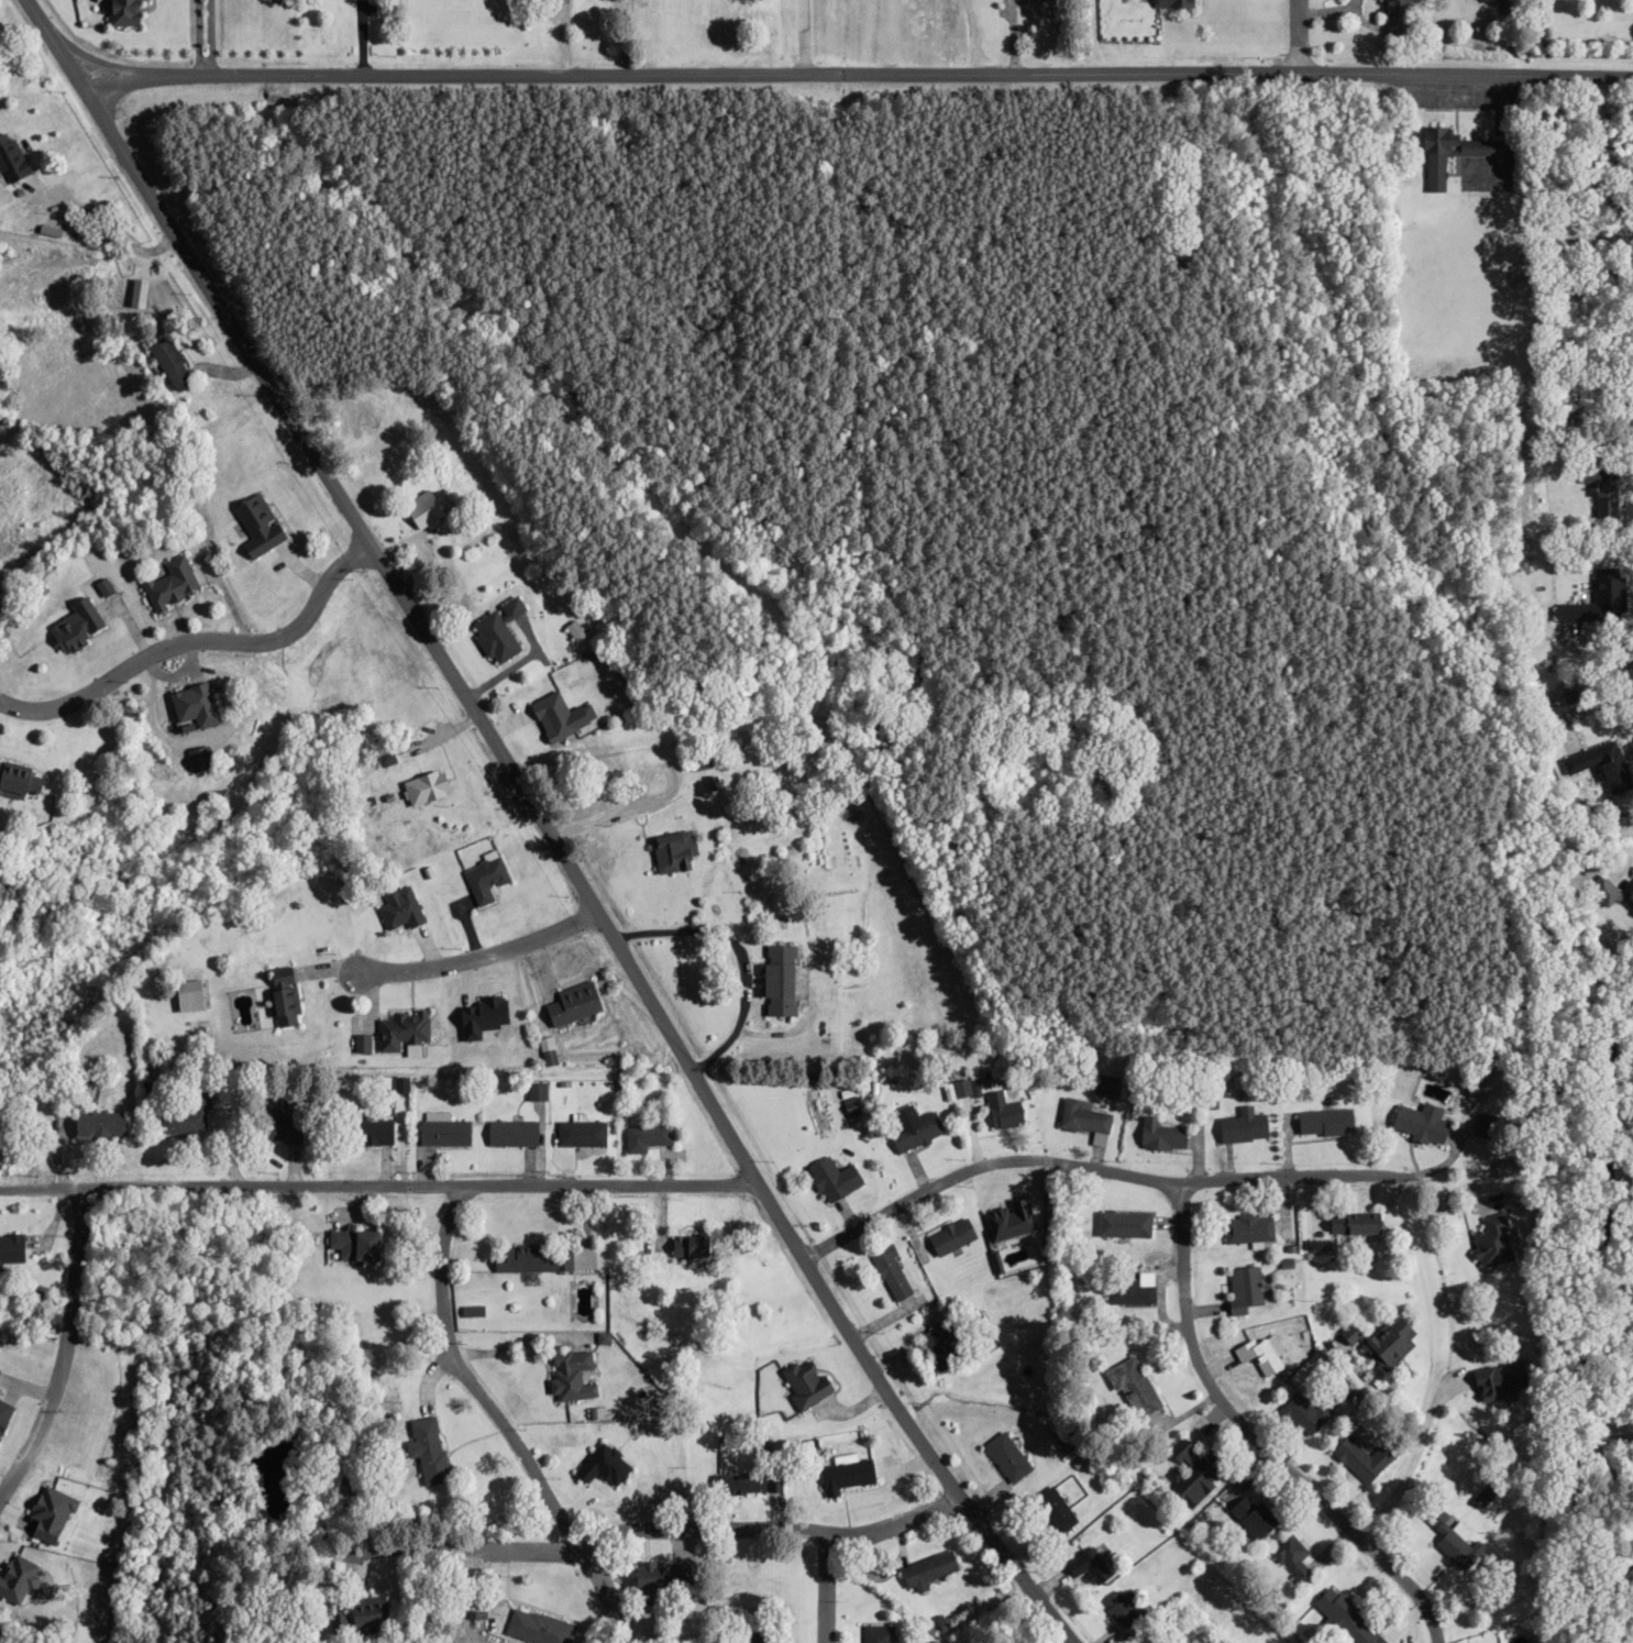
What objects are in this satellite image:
building: (122, 12)
road: (1293, 37)
road: (857, 74)
building: (1447, 151)
building: (10, 157)
building: (167, 361)
building: (417, 504)
building: (1599, 509)
building: (256, 523)
building: (168, 582)
building: (1597, 599)
building: (71, 628)
building: (496, 630)
road: (195, 640)
building: (190, 704)
building: (551, 715)
building: (196, 757)
building: (1599, 762)
building: (12, 779)
building: (422, 786)
road: (541, 825)
building: (672, 851)
building: (483, 879)
building: (398, 908)
road: (477, 955)
building: (776, 979)
building: (187, 995)
building: (282, 996)
building: (572, 1003)
building: (481, 1016)
building: (400, 1028)
building: (1105, 1084)
building: (1002, 1110)
building: (186, 1115)
building: (1082, 1117)
building: (284, 1120)
building: (1323, 1122)
building: (1420, 1123)
building: (98, 1124)
building: (1483, 1124)
building: (1242, 1127)
building: (914, 1132)
building: (443, 1133)
building: (510, 1133)
building: (580, 1134)
building: (1159, 1134)
building: (646, 1136)
building: (1504, 1169)
road: (1300, 1176)
building: (832, 1179)
road: (261, 1187)
building: (1351, 1223)
building: (1123, 1224)
building: (1246, 1228)
building: (950, 1236)
building: (1491, 1240)
building: (352, 1244)
building: (688, 1245)
building: (11, 1247)
building: (534, 1260)
road: (1180, 1260)
building: (889, 1272)
building: (1243, 1288)
building: (1133, 1289)
building: (1387, 1341)
building: (938, 1345)
building: (1257, 1354)
building: (567, 1374)
building: (804, 1382)
building: (1133, 1388)
building: (1303, 1412)
building: (426, 1449)
building: (1005, 1457)
building: (1359, 1458)
building: (603, 1465)
building: (845, 1474)
building: (1192, 1474)
building: (737, 1484)
road: (536, 1486)
building: (1049, 1510)
building: (47, 1514)
building: (1249, 1514)
road: (893, 1522)
building: (1449, 1536)
building: (1289, 1558)
building: (1086, 1566)
building: (925, 1570)
building: (658, 1576)
building: (15, 1578)
road: (688, 1587)
road: (825, 1588)
building: (1121, 1607)
building: (360, 1616)
building: (1344, 1618)
building: (537, 1628)
building: (876, 1633)
building: (744, 1640)

